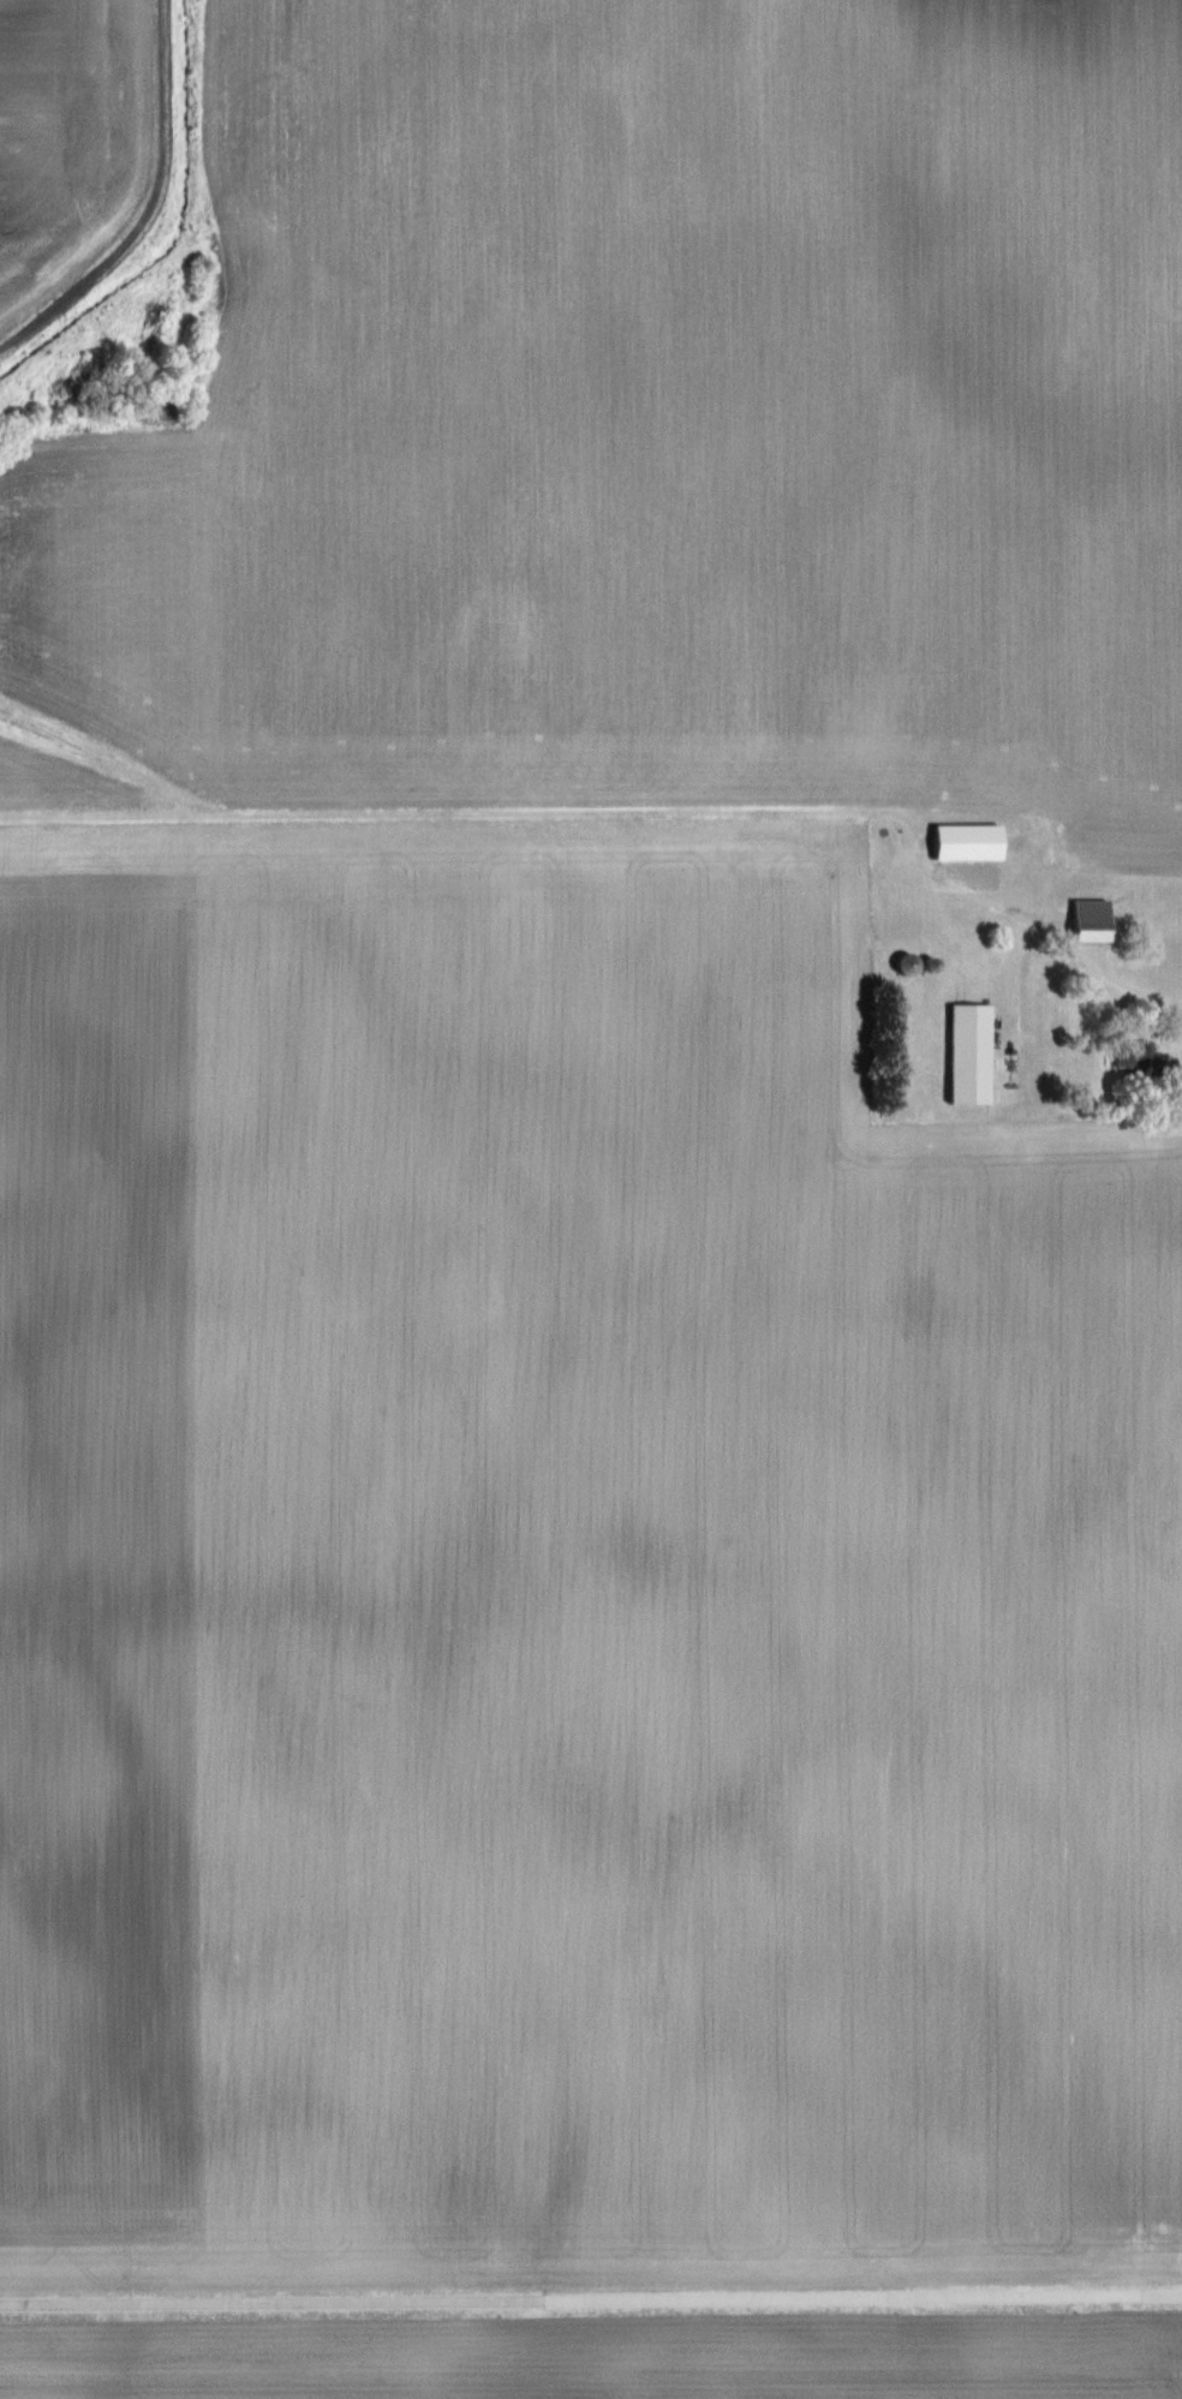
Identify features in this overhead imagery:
building: (1099, 918)
road: (1074, 951)
building: (977, 1052)
road: (590, 2297)

